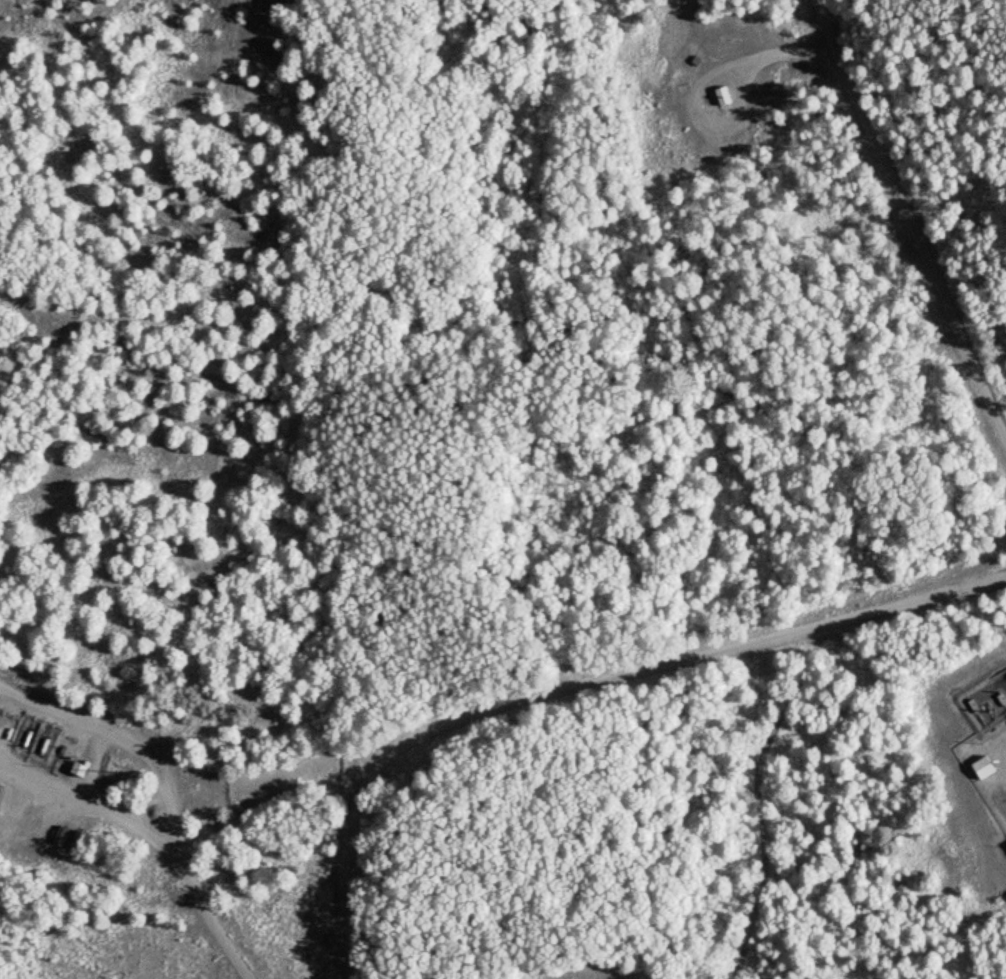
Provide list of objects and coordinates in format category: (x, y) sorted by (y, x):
building: (720, 96)
road: (912, 219)
road: (644, 667)
building: (980, 767)
building: (76, 768)
road: (159, 797)
building: (57, 835)
building: (1003, 850)
road: (344, 913)

